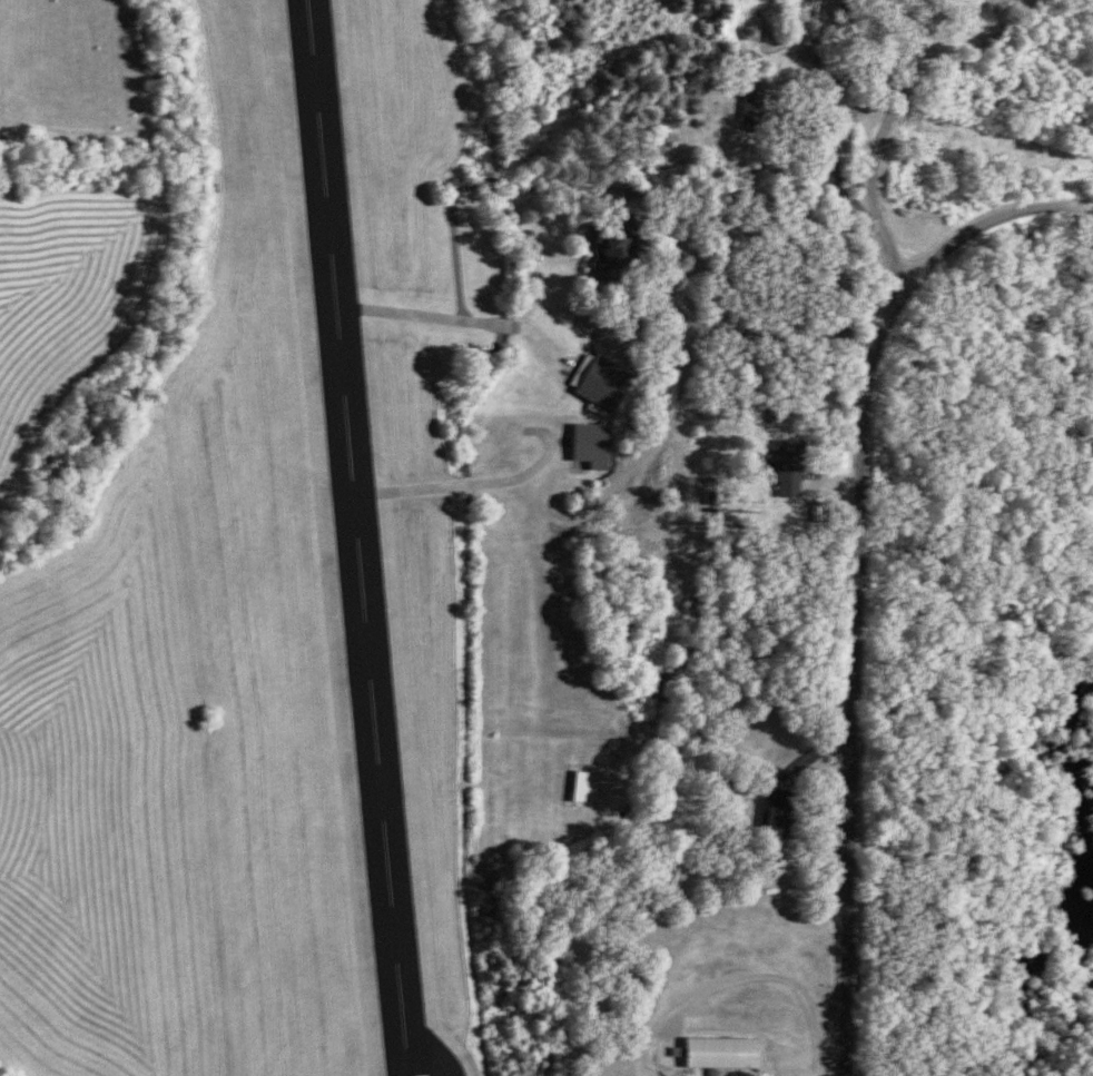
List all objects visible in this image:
road: (874, 42)
building: (752, 100)
road: (878, 137)
road: (991, 219)
building: (613, 245)
building: (611, 386)
building: (599, 447)
building: (782, 468)
airport runway: (357, 537)
road: (851, 673)
building: (594, 790)
building: (726, 793)
building: (776, 810)
building: (713, 1053)

